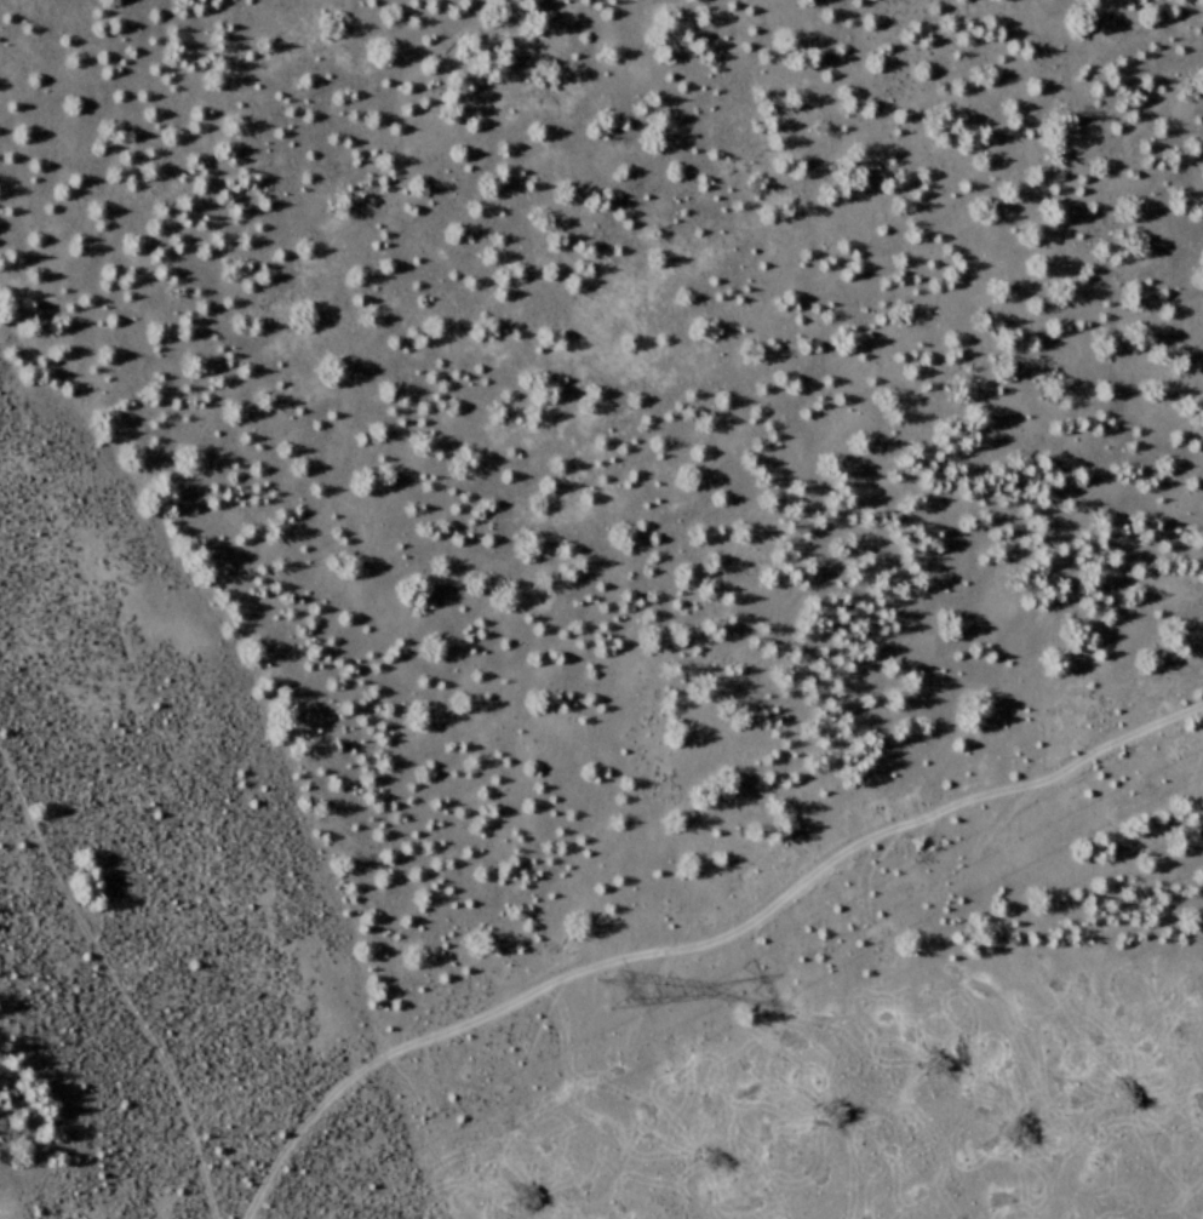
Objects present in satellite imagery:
power tower: (619, 997)

